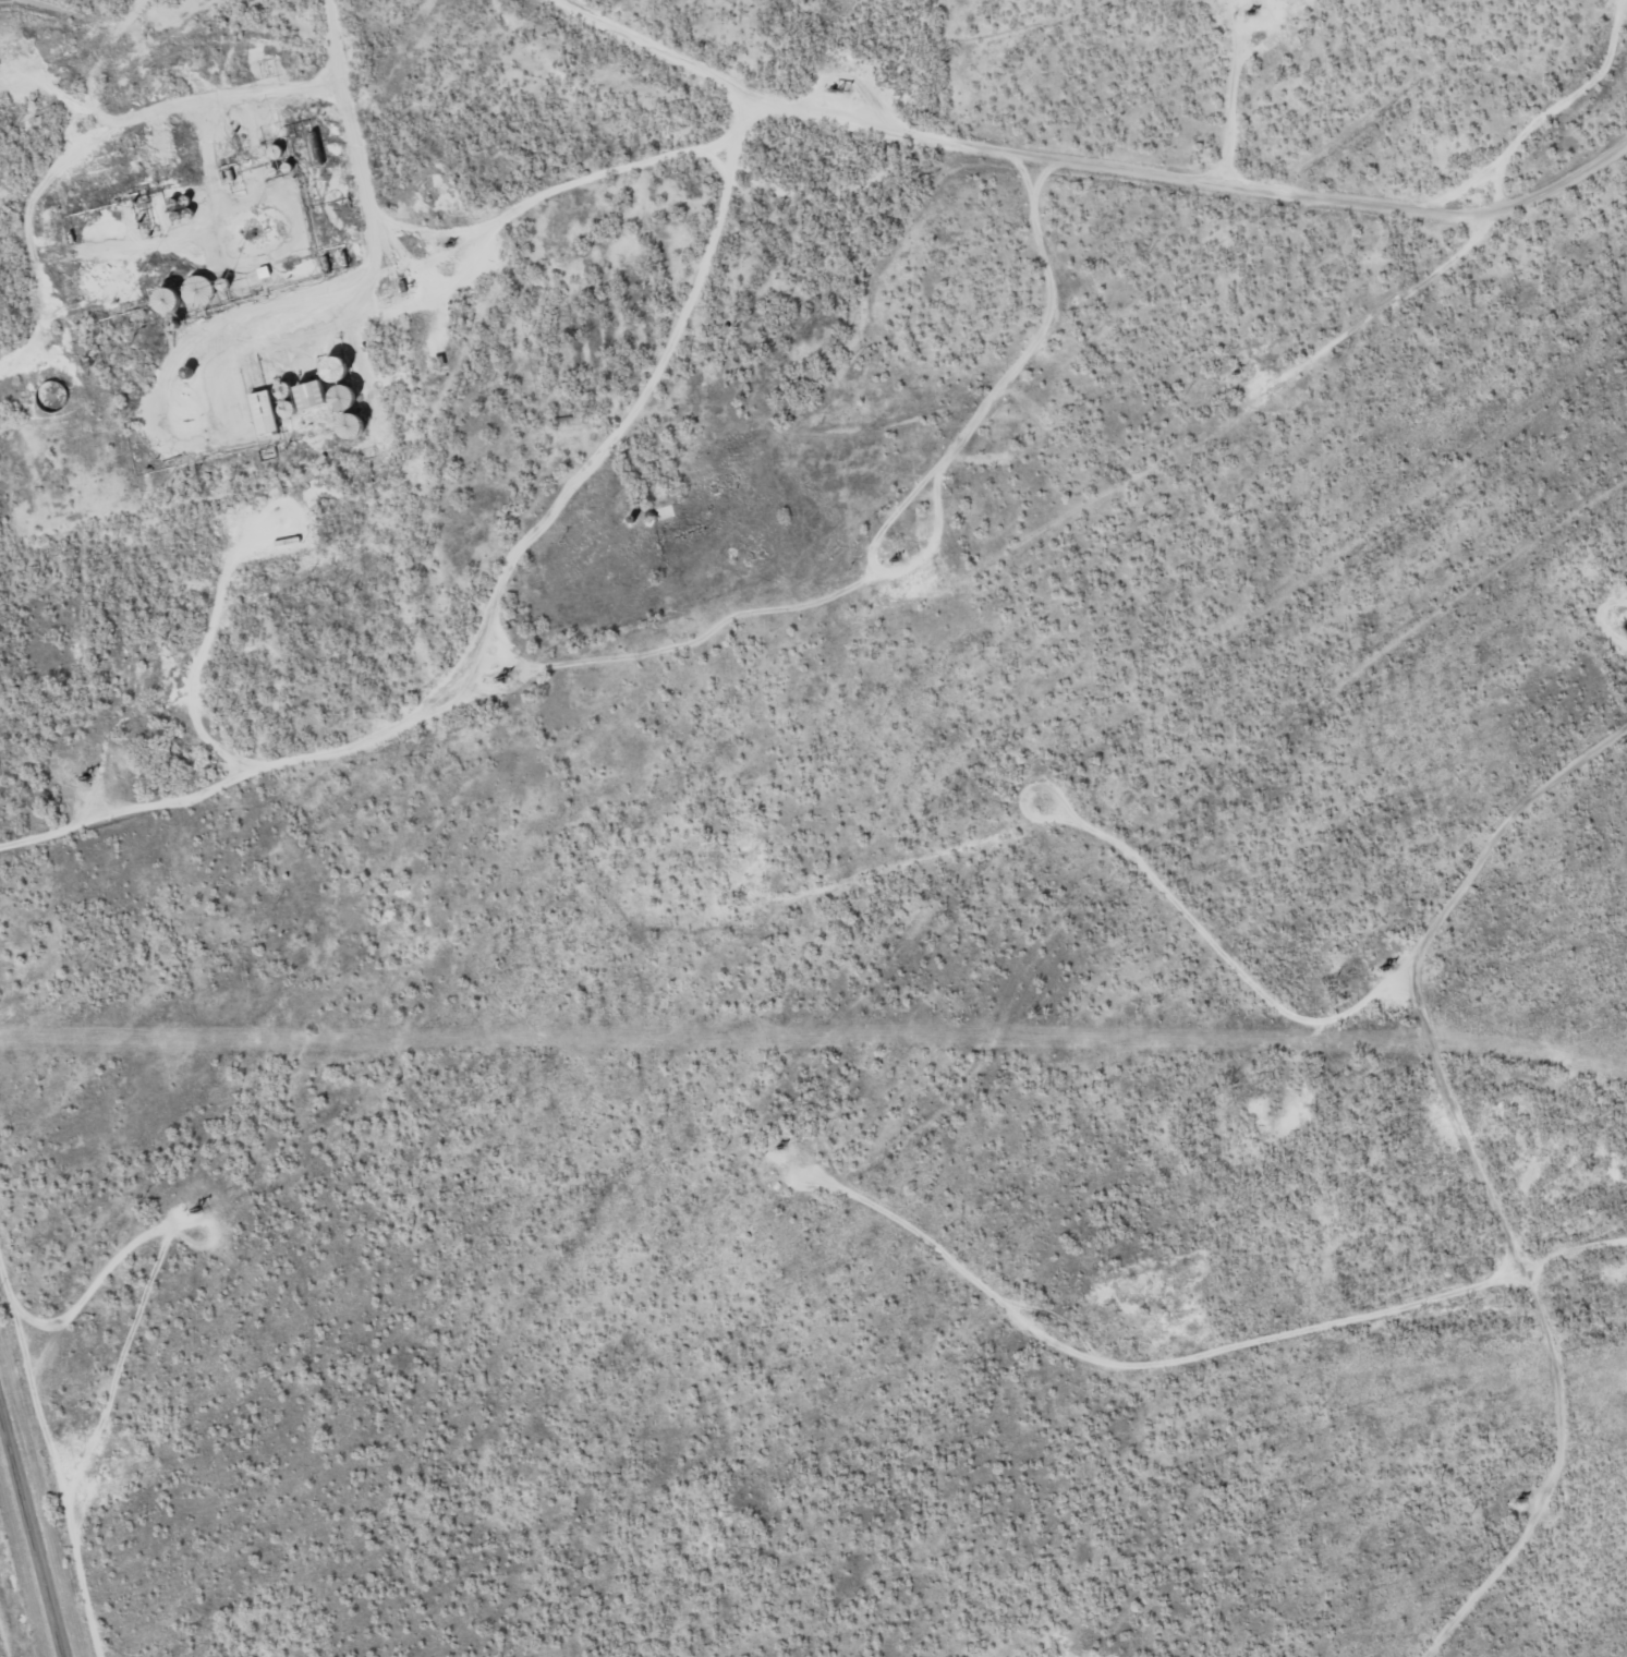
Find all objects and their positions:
road: (343, 86)
building: (337, 370)
building: (318, 395)
building: (265, 412)
building: (353, 427)
road: (38, 1510)

